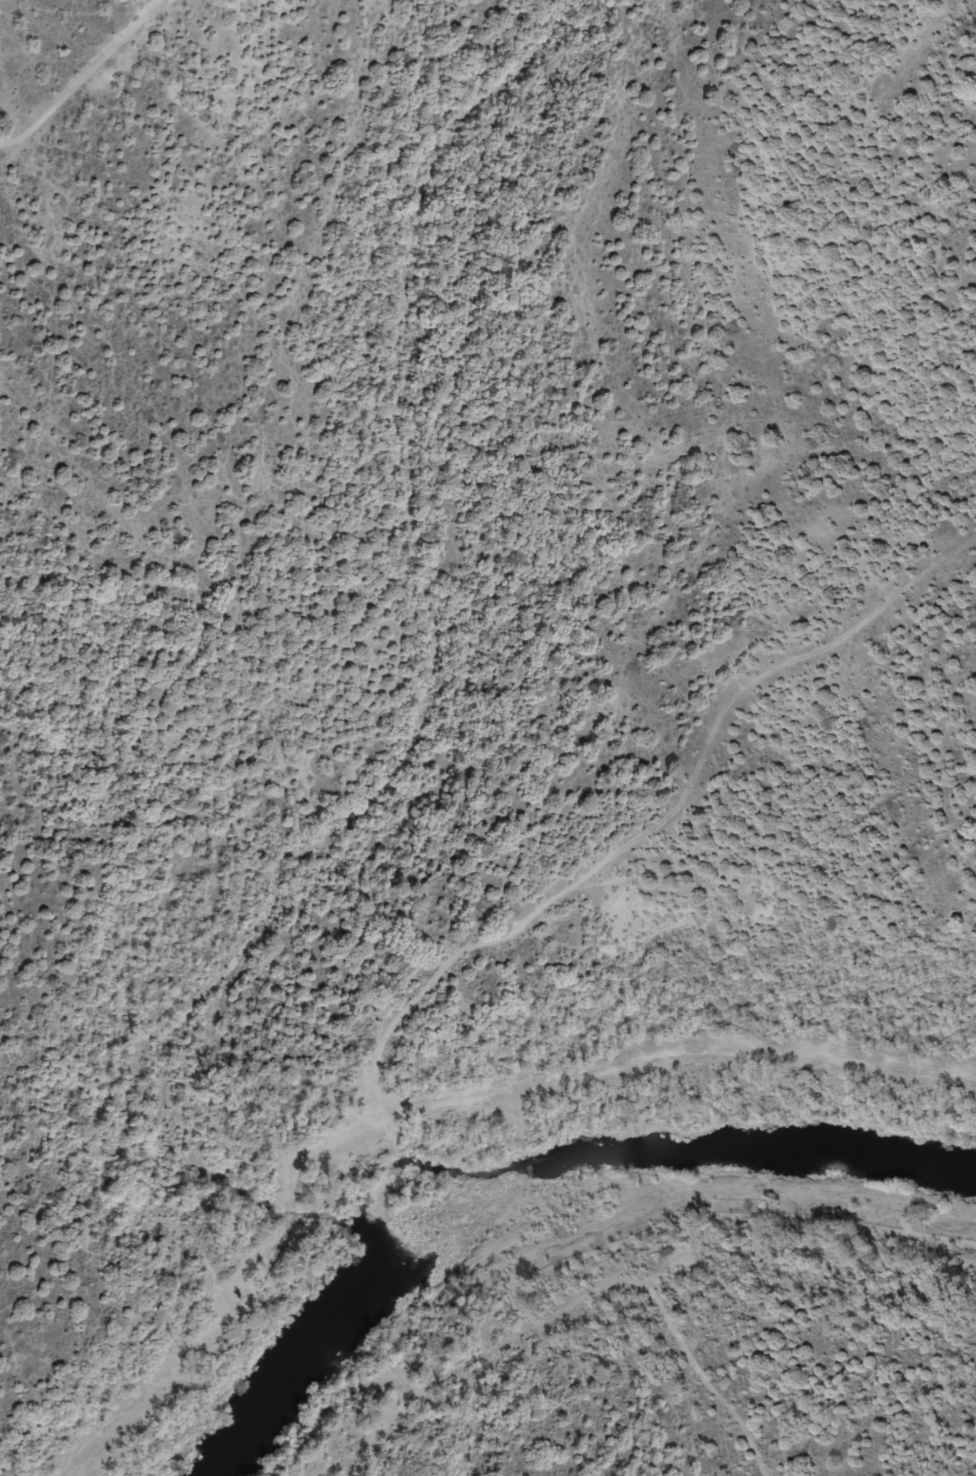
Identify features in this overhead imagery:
road: (32, 1352)
road: (723, 1434)

